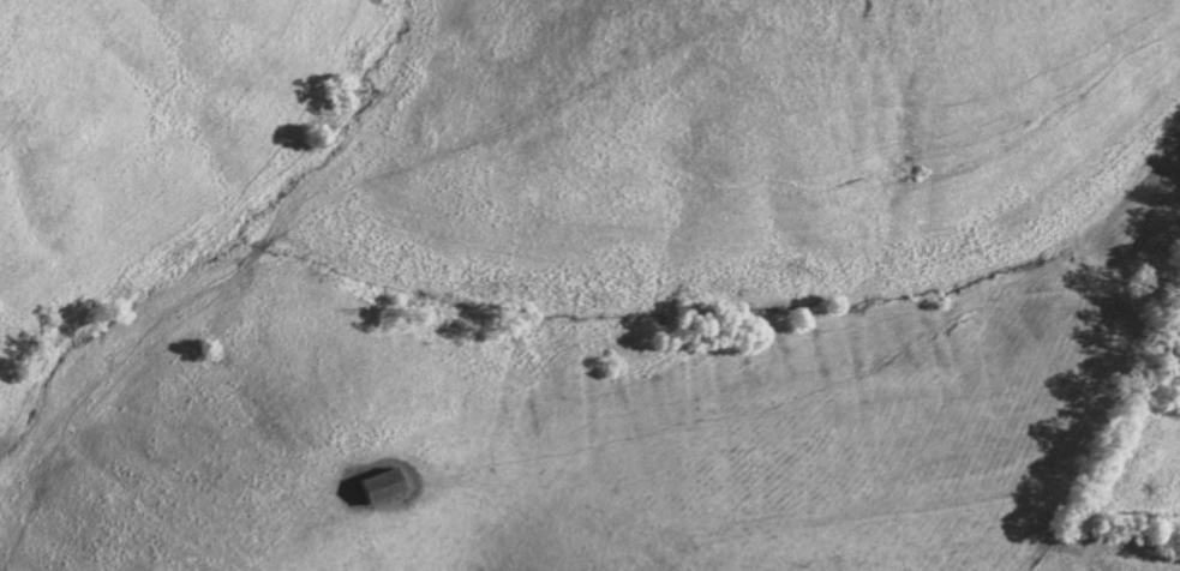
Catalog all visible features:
building: (383, 486)

